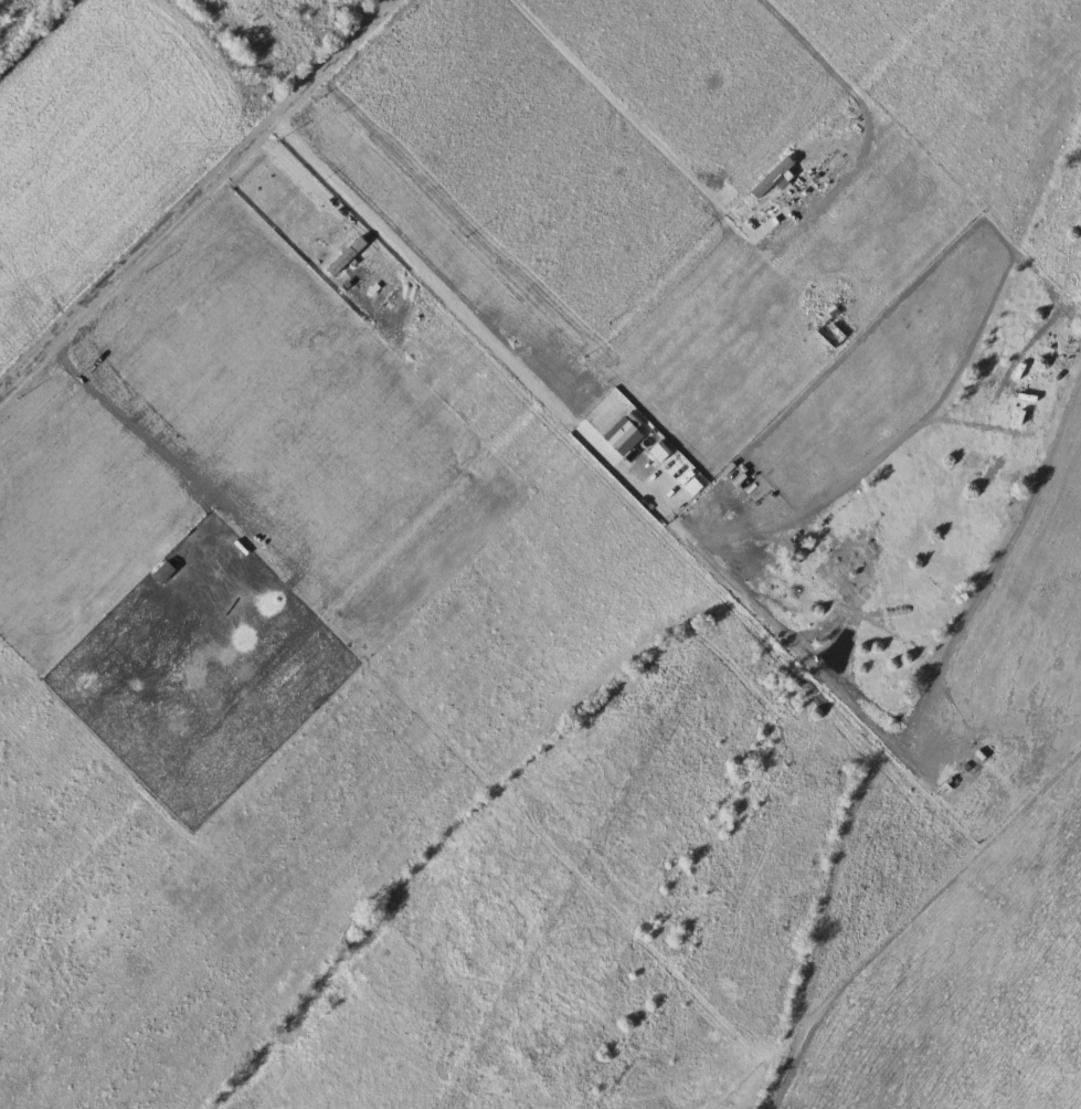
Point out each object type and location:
road: (300, 175)
road: (194, 196)
road: (470, 316)
road: (81, 1016)

